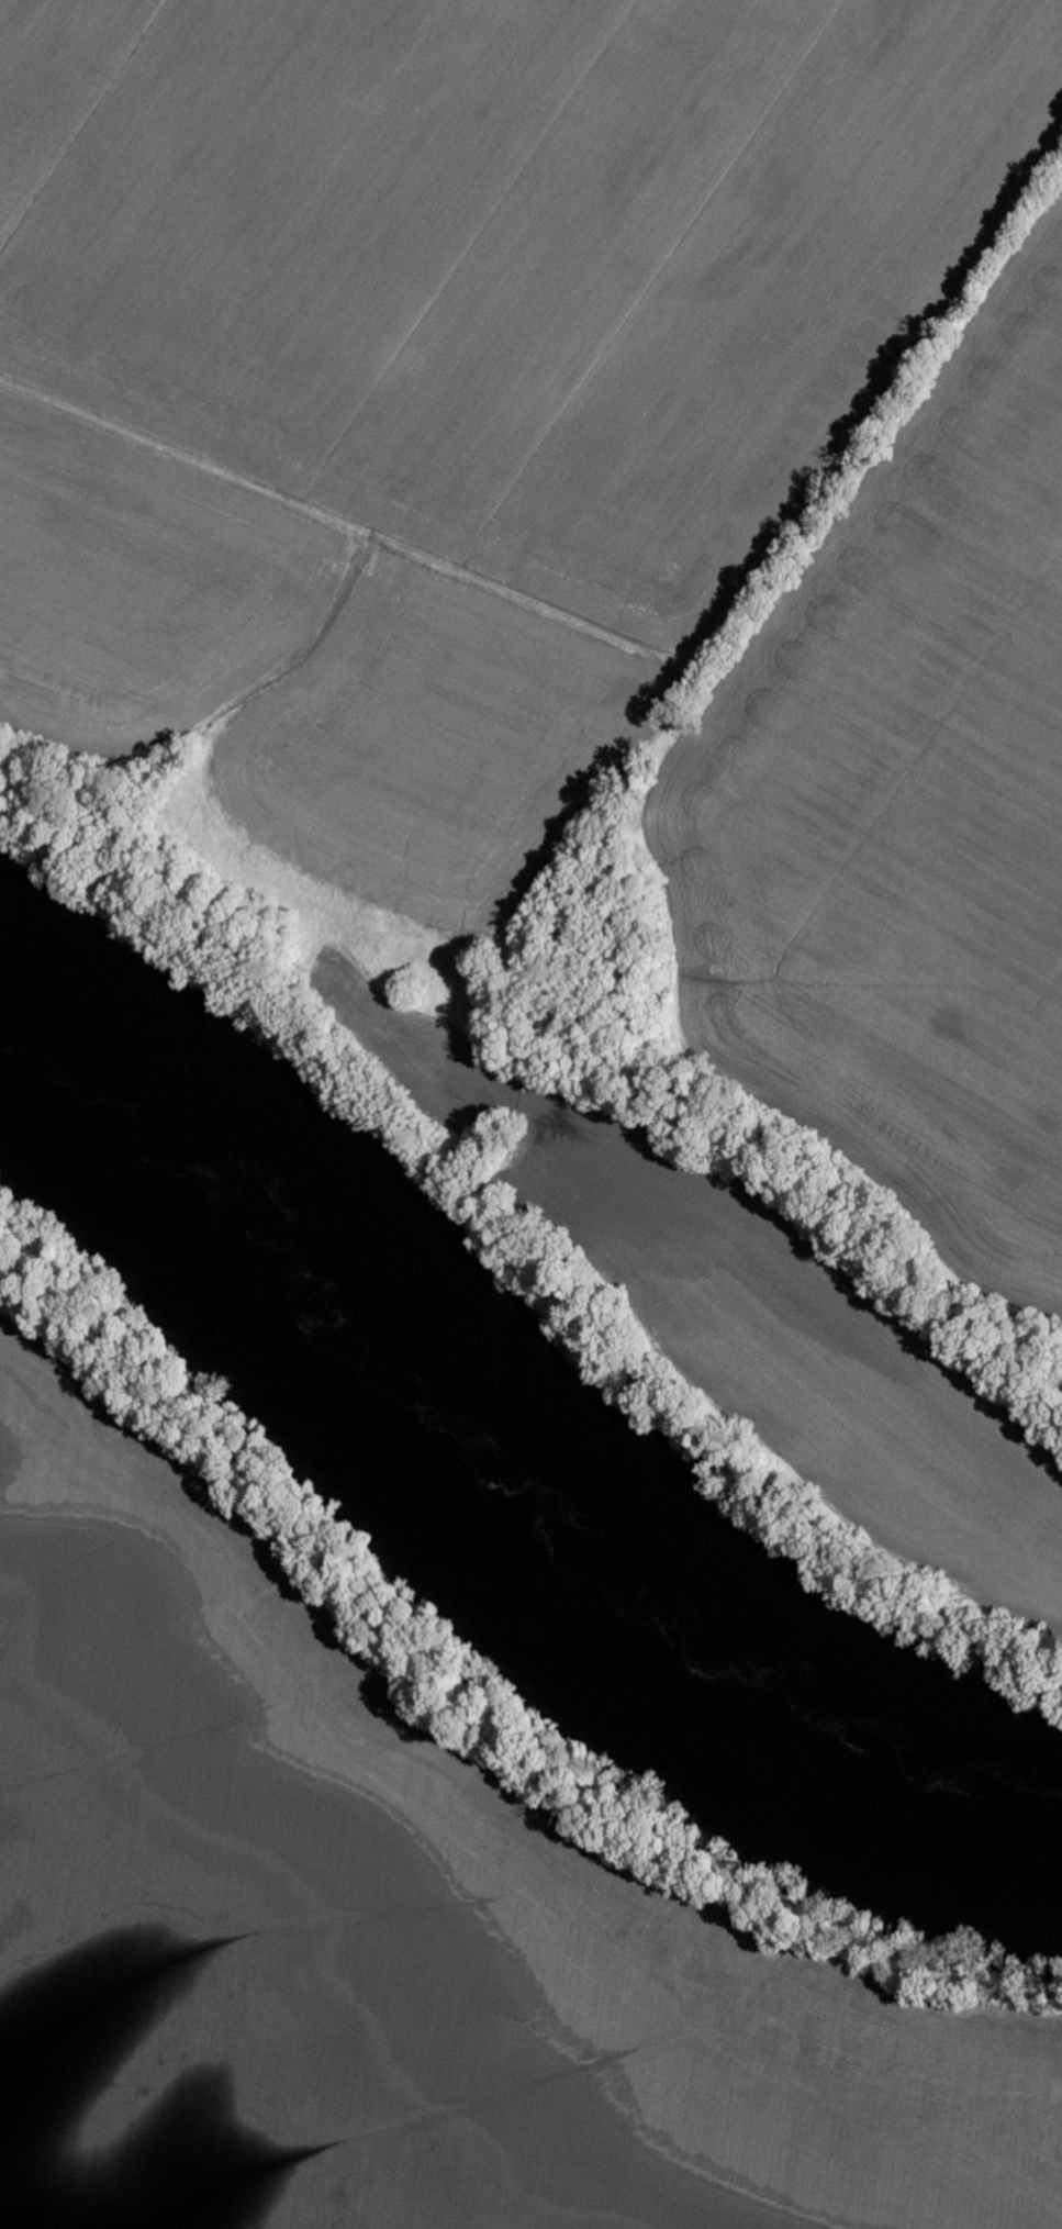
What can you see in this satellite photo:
river: (478, 1493)

